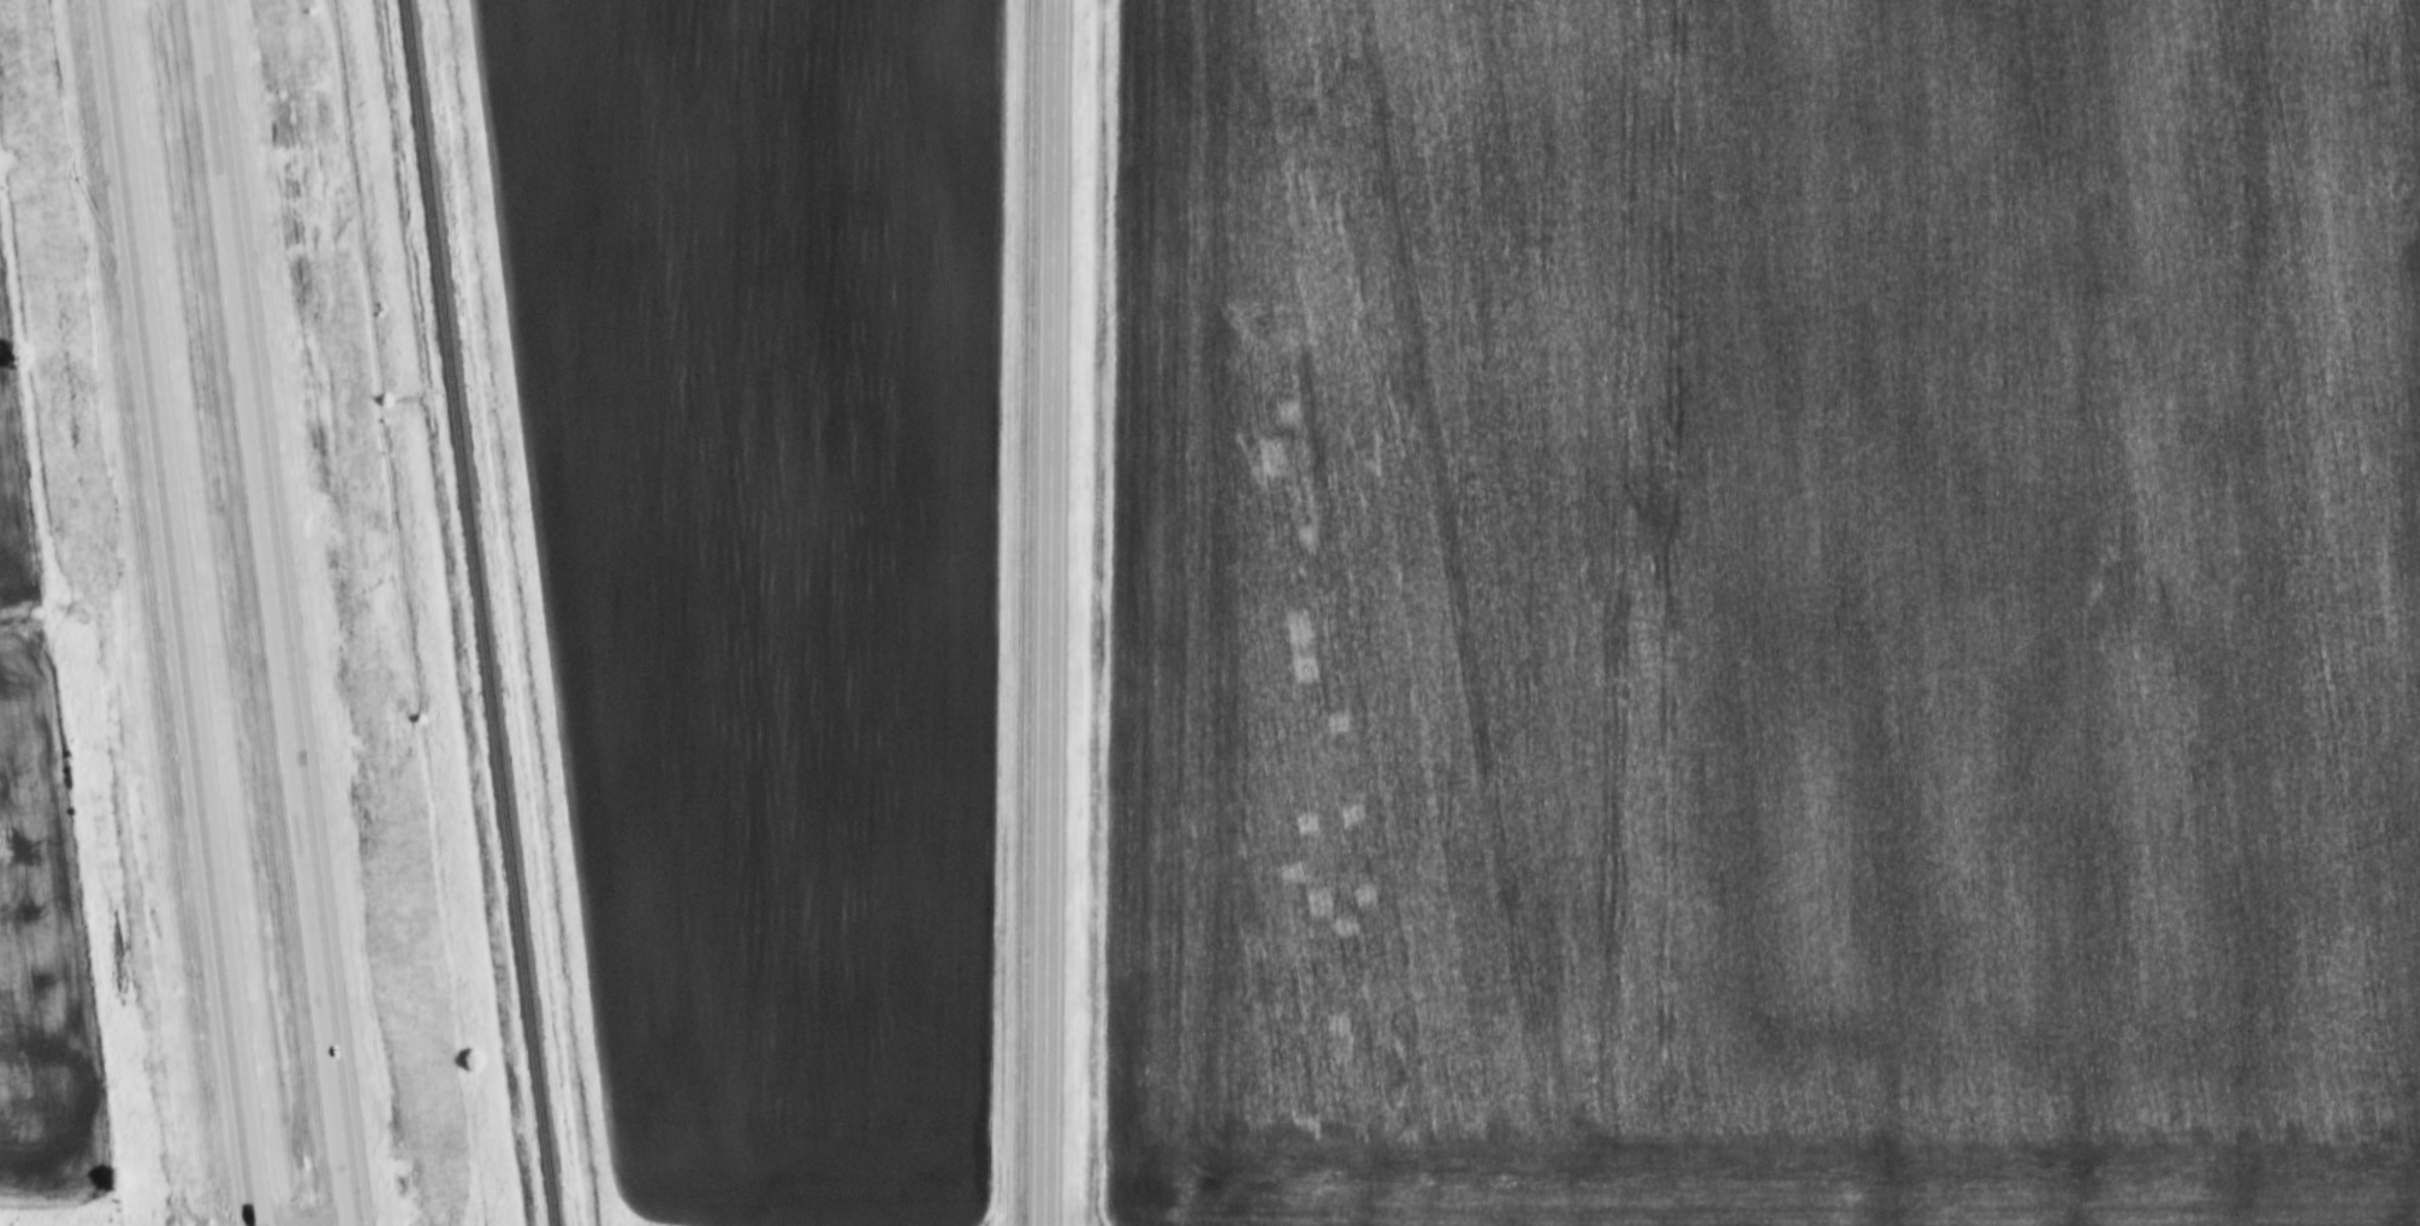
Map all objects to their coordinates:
road: (180, 613)
road: (274, 613)
railway: (478, 613)
road: (1055, 613)

